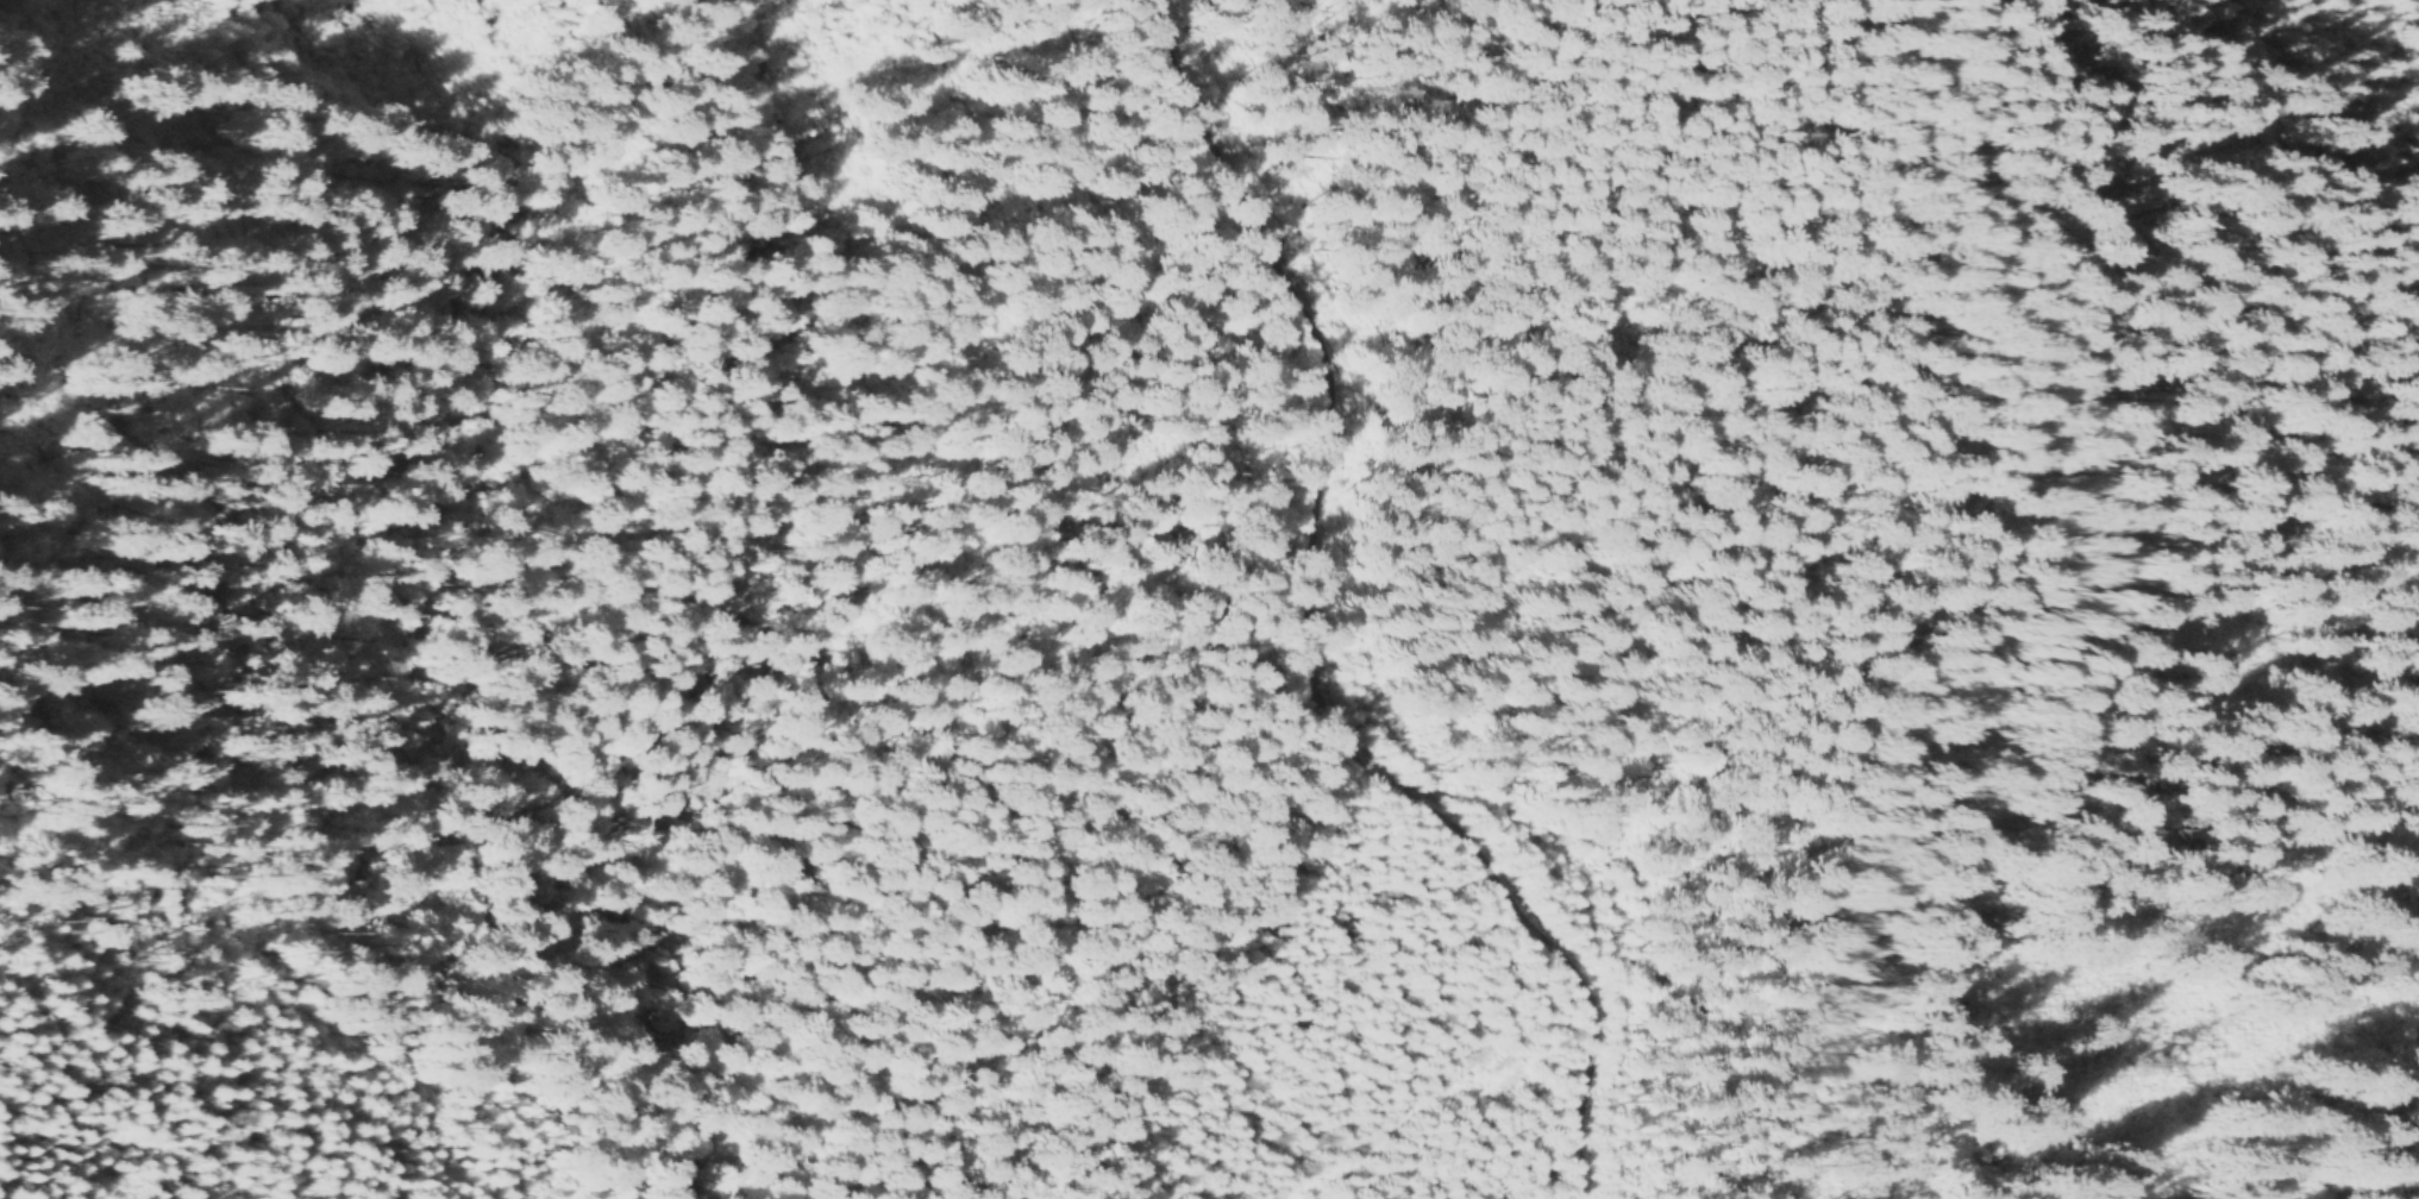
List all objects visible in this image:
road: (2217, 187)
road: (2302, 561)
road: (1302, 635)

